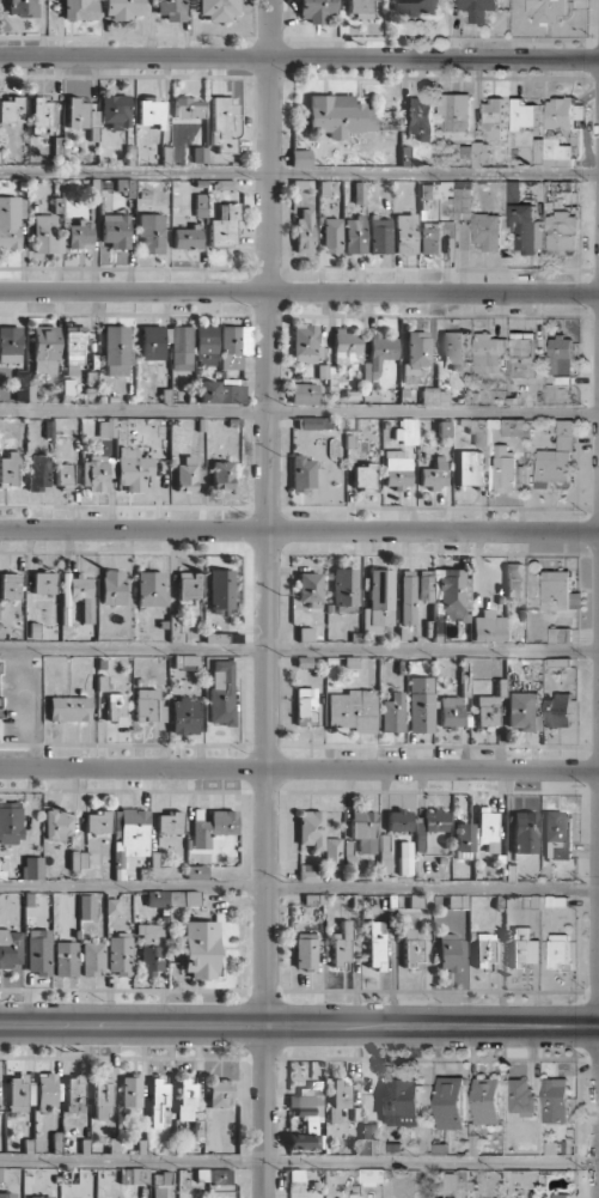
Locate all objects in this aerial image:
building: (22, 7)
building: (416, 7)
building: (122, 8)
building: (359, 8)
building: (478, 8)
building: (80, 10)
building: (171, 10)
building: (218, 10)
building: (317, 10)
building: (548, 11)
road: (299, 57)
building: (188, 108)
building: (11, 110)
building: (115, 111)
building: (151, 111)
building: (456, 111)
building: (77, 112)
building: (560, 112)
building: (39, 115)
building: (524, 115)
building: (421, 117)
building: (493, 120)
building: (221, 124)
building: (481, 152)
building: (552, 152)
building: (200, 154)
building: (300, 158)
road: (299, 174)
building: (427, 191)
building: (200, 209)
building: (11, 220)
building: (224, 225)
building: (522, 227)
building: (115, 230)
building: (151, 232)
building: (304, 232)
building: (561, 232)
building: (405, 233)
building: (47, 235)
building: (79, 235)
building: (331, 235)
building: (355, 235)
building: (380, 235)
building: (187, 238)
building: (430, 238)
road: (299, 292)
building: (44, 342)
building: (152, 342)
building: (306, 343)
building: (10, 345)
building: (206, 345)
building: (233, 346)
building: (181, 347)
building: (347, 347)
building: (454, 349)
building: (116, 351)
building: (380, 351)
building: (73, 352)
building: (488, 353)
building: (524, 354)
building: (416, 355)
building: (561, 355)
building: (23, 387)
building: (221, 393)
building: (304, 394)
building: (434, 396)
road: (299, 412)
building: (314, 422)
building: (513, 426)
building: (106, 428)
building: (444, 428)
building: (479, 430)
building: (407, 431)
building: (557, 457)
building: (467, 467)
building: (397, 468)
building: (10, 469)
building: (132, 469)
building: (503, 470)
building: (37, 472)
building: (94, 473)
building: (302, 473)
building: (185, 474)
building: (433, 474)
building: (63, 475)
building: (222, 475)
building: (363, 476)
road: (299, 530)
building: (514, 579)
building: (43, 583)
building: (424, 585)
building: (10, 586)
building: (112, 586)
building: (189, 586)
building: (149, 589)
building: (310, 589)
building: (344, 590)
building: (221, 591)
building: (560, 591)
building: (78, 594)
building: (450, 594)
building: (408, 597)
road: (269, 598)
building: (378, 602)
building: (488, 627)
building: (558, 634)
road: (299, 651)
building: (185, 662)
building: (221, 692)
building: (421, 704)
building: (148, 706)
building: (116, 707)
building: (305, 707)
building: (69, 709)
building: (352, 710)
building: (520, 710)
building: (558, 710)
building: (451, 711)
building: (488, 711)
building: (392, 713)
building: (184, 716)
road: (299, 768)
building: (399, 820)
building: (10, 821)
building: (434, 821)
building: (97, 822)
building: (169, 823)
building: (57, 825)
building: (311, 828)
building: (487, 829)
building: (363, 831)
building: (525, 832)
building: (557, 835)
building: (384, 852)
building: (332, 853)
building: (404, 857)
building: (78, 859)
building: (32, 868)
building: (196, 871)
road: (299, 888)
building: (172, 898)
building: (86, 906)
building: (111, 906)
building: (375, 944)
building: (341, 945)
building: (524, 947)
building: (10, 948)
building: (149, 948)
building: (201, 949)
building: (484, 950)
building: (558, 950)
building: (38, 951)
building: (305, 953)
building: (412, 953)
building: (448, 953)
building: (118, 954)
building: (92, 957)
building: (65, 959)
road: (299, 1024)
building: (45, 1090)
building: (130, 1093)
building: (220, 1093)
building: (74, 1094)
building: (19, 1095)
building: (102, 1097)
building: (521, 1097)
building: (337, 1099)
building: (185, 1100)
building: (487, 1100)
building: (555, 1100)
building: (401, 1101)
building: (159, 1102)
building: (451, 1102)
building: (306, 1119)
building: (367, 1138)
road: (299, 1162)
building: (0, 1175)
building: (139, 1175)
building: (213, 1175)
building: (372, 1176)
building: (158, 1192)
building: (7, 1194)
building: (561, 1196)
building: (39, 1197)

